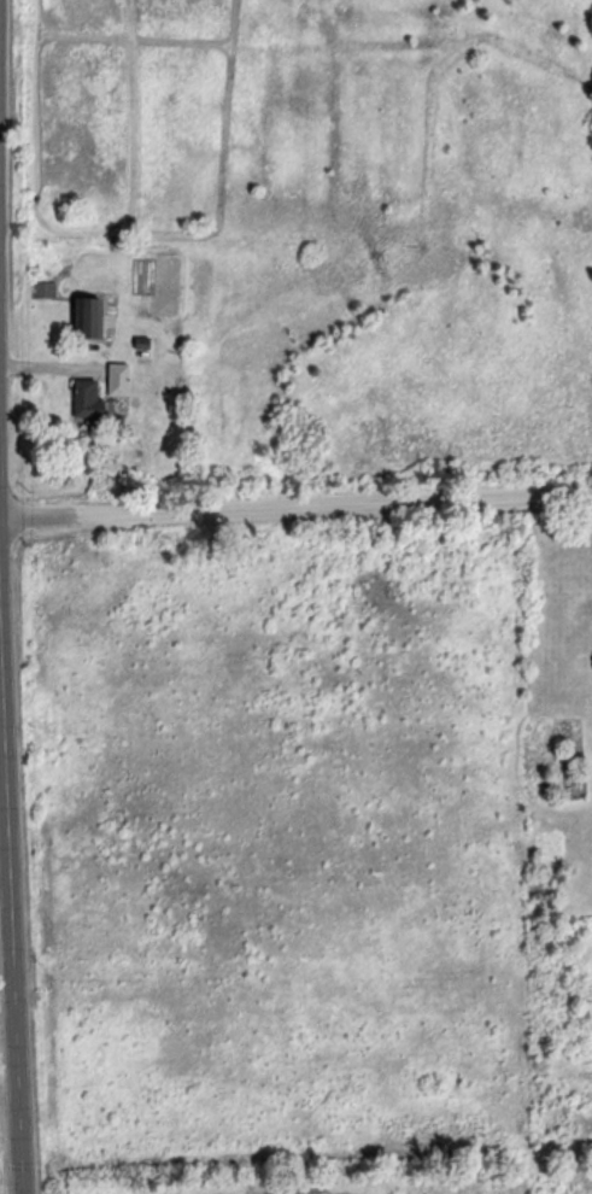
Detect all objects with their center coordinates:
building: (42, 289)
building: (87, 317)
building: (117, 379)
building: (86, 400)
road: (295, 505)
road: (5, 597)
road: (5, 743)
road: (8, 903)

